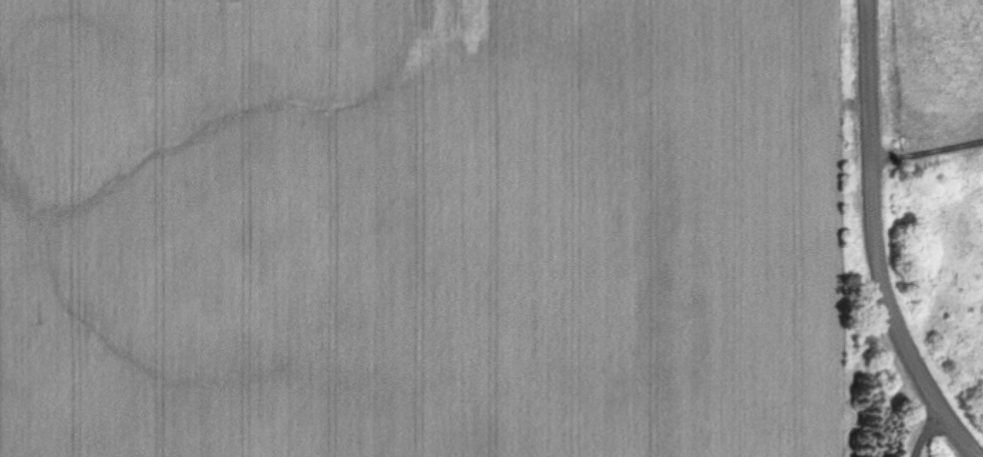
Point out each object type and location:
road: (927, 152)
park: (924, 202)
road: (874, 243)
road: (926, 434)

